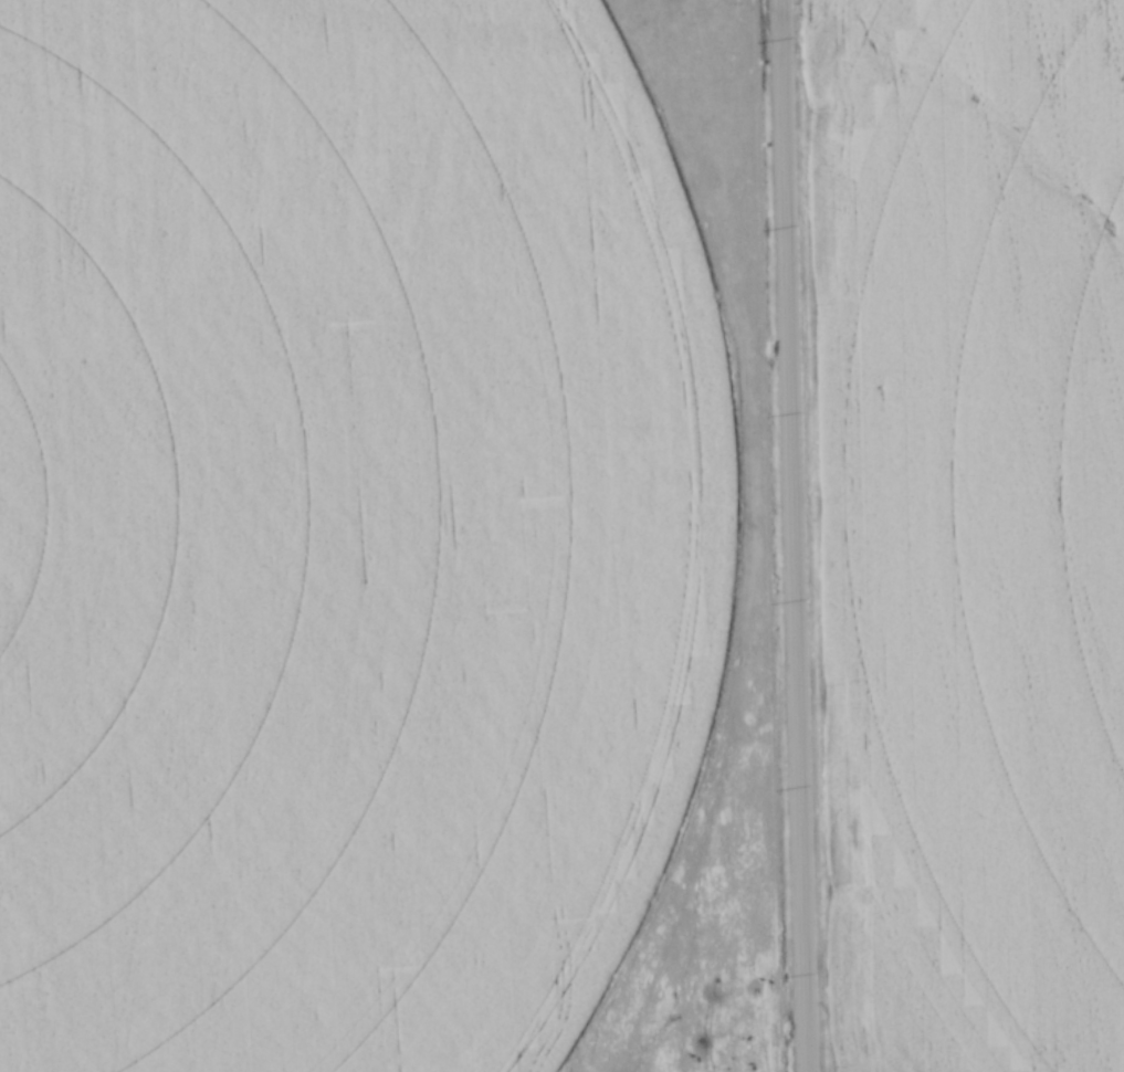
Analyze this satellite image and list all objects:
road: (796, 536)

